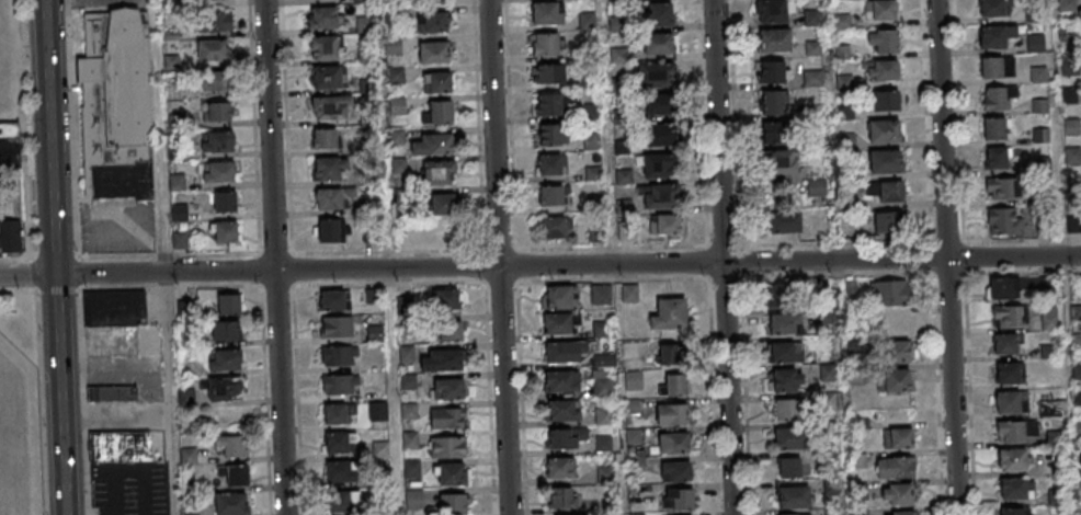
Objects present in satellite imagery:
building: (435, 0)
building: (994, 8)
building: (879, 10)
building: (773, 11)
building: (547, 12)
building: (658, 15)
building: (1080, 16)
building: (323, 18)
building: (842, 21)
building: (215, 22)
building: (433, 22)
building: (363, 24)
building: (994, 35)
building: (774, 39)
building: (881, 41)
building: (1035, 43)
building: (544, 44)
building: (659, 45)
building: (323, 47)
building: (213, 49)
building: (433, 51)
building: (844, 51)
building: (997, 66)
building: (880, 70)
building: (772, 71)
building: (549, 73)
building: (657, 76)
building: (327, 77)
building: (812, 77)
building: (215, 80)
building: (843, 81)
building: (436, 82)
building: (997, 96)
building: (887, 101)
building: (772, 102)
building: (549, 105)
building: (658, 105)
building: (113, 107)
building: (329, 108)
building: (216, 112)
building: (439, 112)
building: (994, 128)
building: (1072, 130)
building: (777, 131)
building: (884, 131)
road: (604, 133)
building: (551, 134)
building: (1040, 135)
building: (660, 136)
road: (49, 137)
building: (323, 138)
building: (216, 141)
building: (591, 142)
building: (433, 144)
building: (10, 152)
building: (997, 158)
building: (780, 161)
building: (886, 162)
building: (549, 164)
building: (659, 167)
building: (330, 168)
building: (218, 171)
building: (439, 173)
building: (817, 186)
building: (1002, 187)
building: (889, 192)
building: (551, 195)
building: (331, 197)
building: (660, 197)
building: (224, 201)
building: (441, 204)
building: (1003, 221)
building: (784, 222)
building: (888, 224)
building: (555, 226)
building: (664, 226)
building: (328, 230)
building: (226, 231)
building: (10, 236)
building: (180, 240)
road: (498, 256)
road: (162, 257)
road: (273, 257)
road: (721, 257)
road: (945, 257)
road: (539, 265)
building: (1002, 288)
building: (601, 293)
building: (629, 293)
building: (890, 293)
building: (775, 296)
building: (558, 297)
building: (333, 299)
building: (444, 299)
building: (228, 305)
building: (114, 307)
building: (669, 313)
building: (1009, 316)
building: (1049, 319)
building: (559, 323)
building: (784, 323)
building: (337, 327)
building: (450, 331)
building: (226, 332)
building: (375, 333)
building: (1006, 343)
building: (565, 351)
building: (785, 352)
building: (896, 352)
building: (669, 355)
building: (339, 356)
building: (442, 359)
building: (225, 362)
building: (1077, 369)
building: (827, 373)
building: (1008, 373)
building: (785, 380)
building: (896, 380)
building: (562, 381)
building: (340, 386)
building: (602, 386)
building: (675, 387)
building: (447, 388)
building: (221, 390)
building: (111, 393)
road: (59, 394)
building: (1011, 402)
building: (790, 409)
building: (560, 410)
building: (603, 414)
building: (671, 414)
building: (335, 415)
road: (115, 417)
building: (447, 417)
building: (1012, 432)
building: (567, 436)
building: (1054, 436)
building: (788, 437)
building: (898, 438)
building: (604, 443)
building: (673, 443)
building: (338, 444)
building: (120, 446)
building: (231, 446)
building: (447, 447)
building: (1012, 459)
building: (789, 467)
building: (560, 468)
building: (894, 468)
building: (675, 471)
building: (340, 473)
building: (452, 474)
building: (237, 476)
road: (621, 484)
building: (1015, 488)
building: (896, 494)
building: (793, 496)
building: (1056, 496)
building: (562, 497)
building: (679, 499)
building: (339, 503)
building: (232, 504)
building: (453, 504)
building: (1014, 511)
building: (899, 513)
building: (799, 514)

